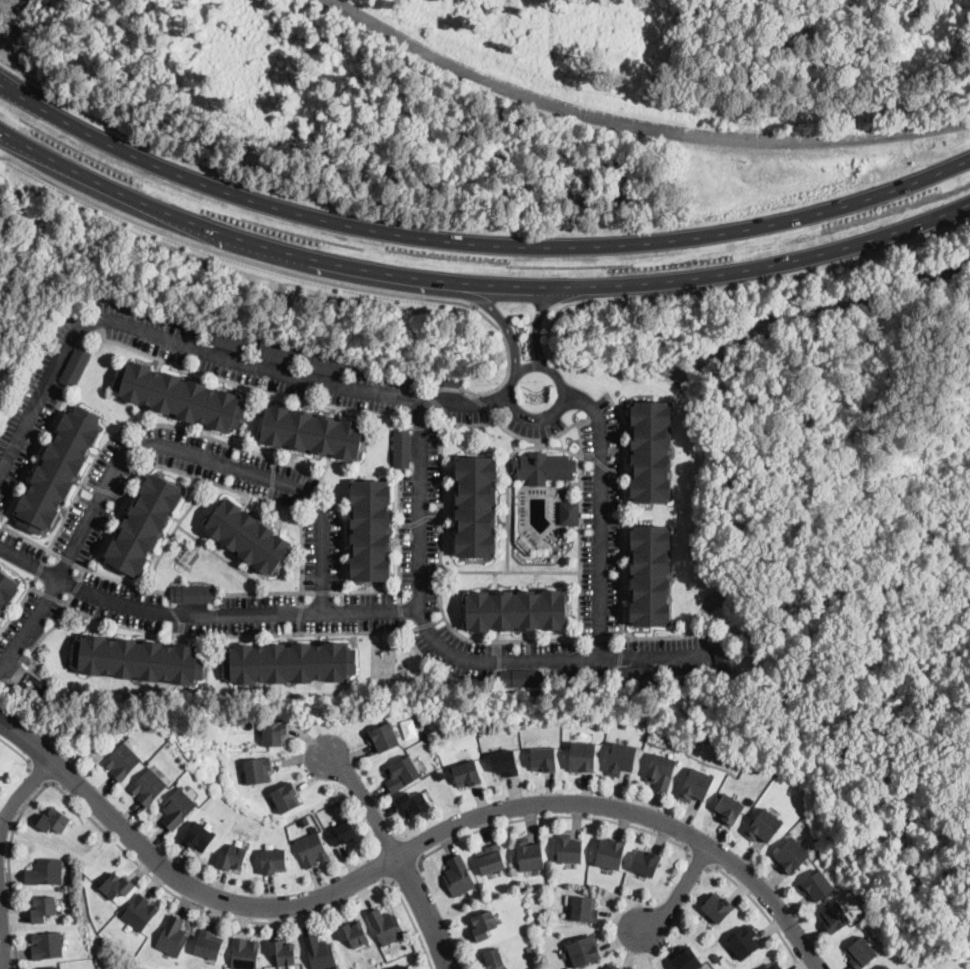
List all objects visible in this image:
road: (21, 71)
road: (594, 114)
road: (475, 244)
road: (293, 272)
road: (475, 284)
road: (488, 307)
road: (536, 324)
building: (229, 340)
road: (211, 350)
building: (277, 353)
building: (326, 365)
building: (74, 367)
building: (451, 383)
building: (179, 397)
road: (510, 400)
road: (482, 423)
road: (570, 426)
building: (312, 433)
road: (155, 445)
building: (401, 448)
building: (651, 452)
building: (543, 468)
building: (58, 470)
building: (475, 506)
park: (902, 512)
building: (569, 513)
road: (601, 515)
building: (144, 524)
building: (370, 531)
building: (247, 536)
building: (526, 545)
building: (651, 576)
building: (7, 590)
building: (191, 594)
building: (516, 610)
road: (203, 614)
road: (450, 651)
building: (723, 655)
building: (138, 659)
building: (289, 663)
building: (640, 675)
building: (521, 678)
road: (0, 698)
road: (22, 714)
building: (420, 721)
building: (568, 724)
building: (623, 724)
building: (524, 725)
building: (160, 727)
building: (206, 728)
building: (274, 731)
building: (383, 735)
road: (20, 752)
building: (583, 757)
building: (621, 759)
building: (543, 760)
building: (122, 761)
building: (504, 763)
building: (258, 769)
building: (402, 772)
building: (661, 772)
road: (41, 774)
building: (467, 774)
building: (696, 785)
building: (148, 787)
road: (23, 792)
building: (285, 797)
building: (412, 804)
building: (729, 807)
building: (177, 808)
road: (552, 816)
building: (54, 820)
building: (763, 825)
building: (343, 833)
building: (199, 836)
building: (311, 850)
building: (570, 850)
building: (610, 854)
building: (529, 855)
building: (791, 855)
road: (398, 856)
road: (403, 857)
building: (232, 858)
building: (274, 859)
road: (701, 859)
building: (491, 860)
building: (646, 863)
road: (9, 869)
road: (405, 870)
building: (45, 872)
building: (458, 877)
building: (816, 884)
building: (117, 886)
road: (677, 893)
building: (717, 907)
building: (42, 908)
road: (204, 909)
building: (584, 909)
road: (761, 909)
building: (139, 912)
building: (834, 916)
road: (412, 925)
building: (483, 925)
building: (385, 927)
road: (3, 932)
building: (353, 934)
building: (172, 937)
building: (744, 942)
building: (208, 943)
building: (46, 945)
building: (529, 949)
building: (584, 951)
building: (319, 952)
building: (860, 952)
building: (283, 953)
building: (244, 954)
building: (494, 959)
building: (687, 960)
building: (774, 966)
building: (404, 967)
building: (612, 967)
building: (886, 967)
building: (57, 968)

